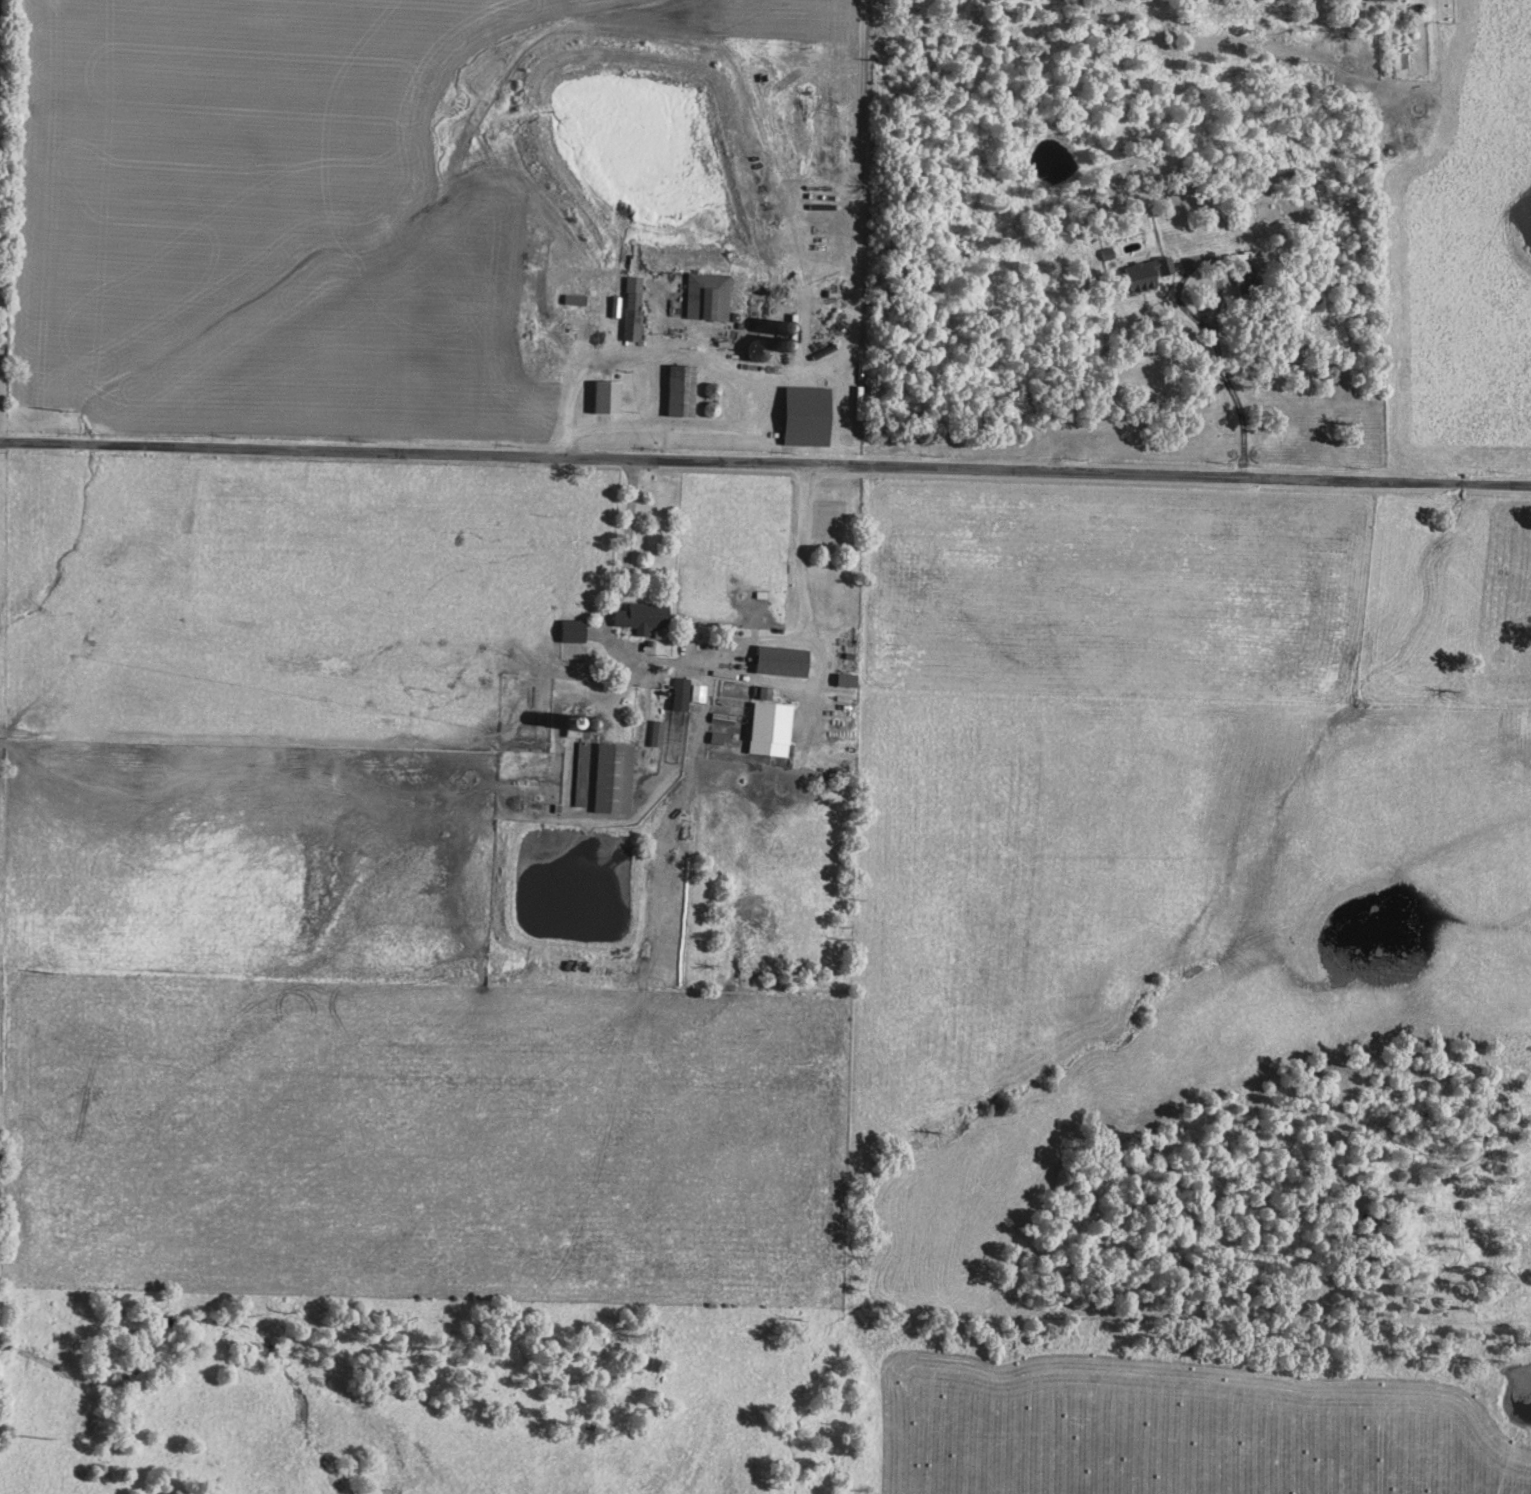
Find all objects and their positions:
building: (1383, 0)
building: (1146, 274)
building: (1245, 278)
building: (632, 308)
road: (1215, 326)
road: (607, 358)
building: (680, 391)
building: (607, 397)
building: (807, 416)
road: (765, 464)
road: (800, 517)
building: (642, 617)
building: (572, 631)
road: (645, 659)
building: (780, 661)
building: (845, 680)
building: (696, 693)
building: (764, 693)
building: (679, 694)
building: (769, 729)
building: (655, 733)
building: (613, 779)

